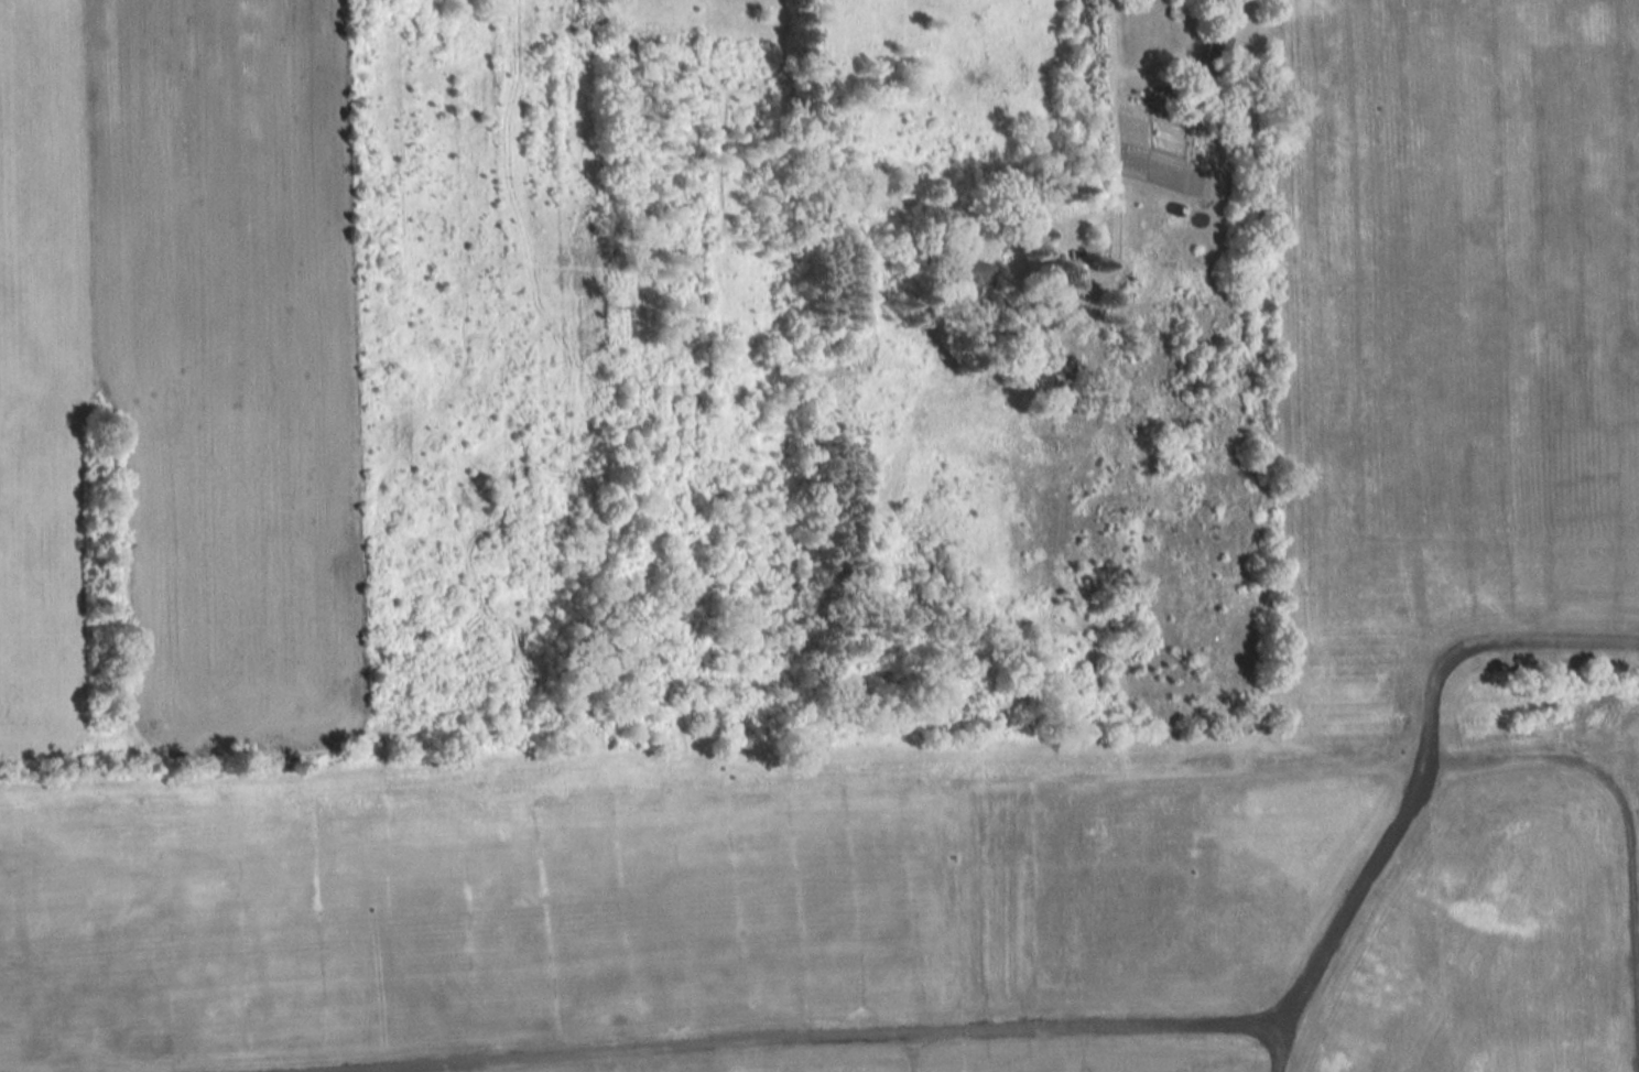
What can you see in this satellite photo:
building: (1209, 55)
road: (1111, 145)
road: (1056, 308)
crop: (224, 370)
building: (1055, 383)
road: (1418, 758)
road: (1621, 827)
road: (813, 1038)
road: (1272, 1047)

